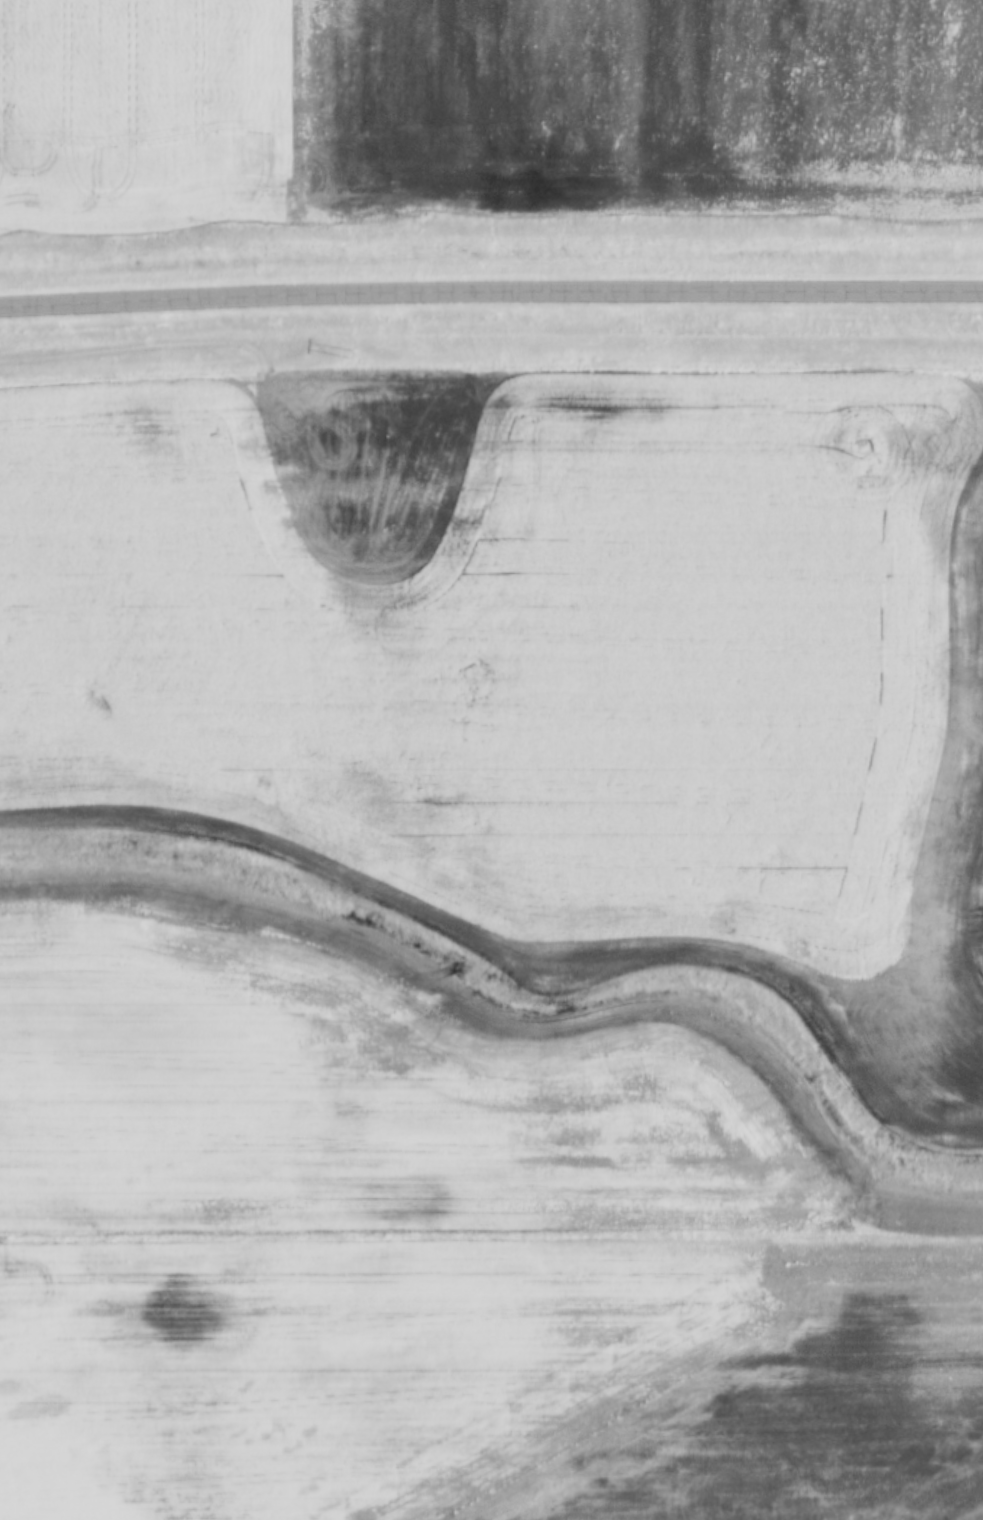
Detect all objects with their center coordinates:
crop: (485, 110)
road: (491, 292)
power tower: (355, 355)
power tower: (867, 451)
crop: (491, 803)
crop: (488, 1383)

